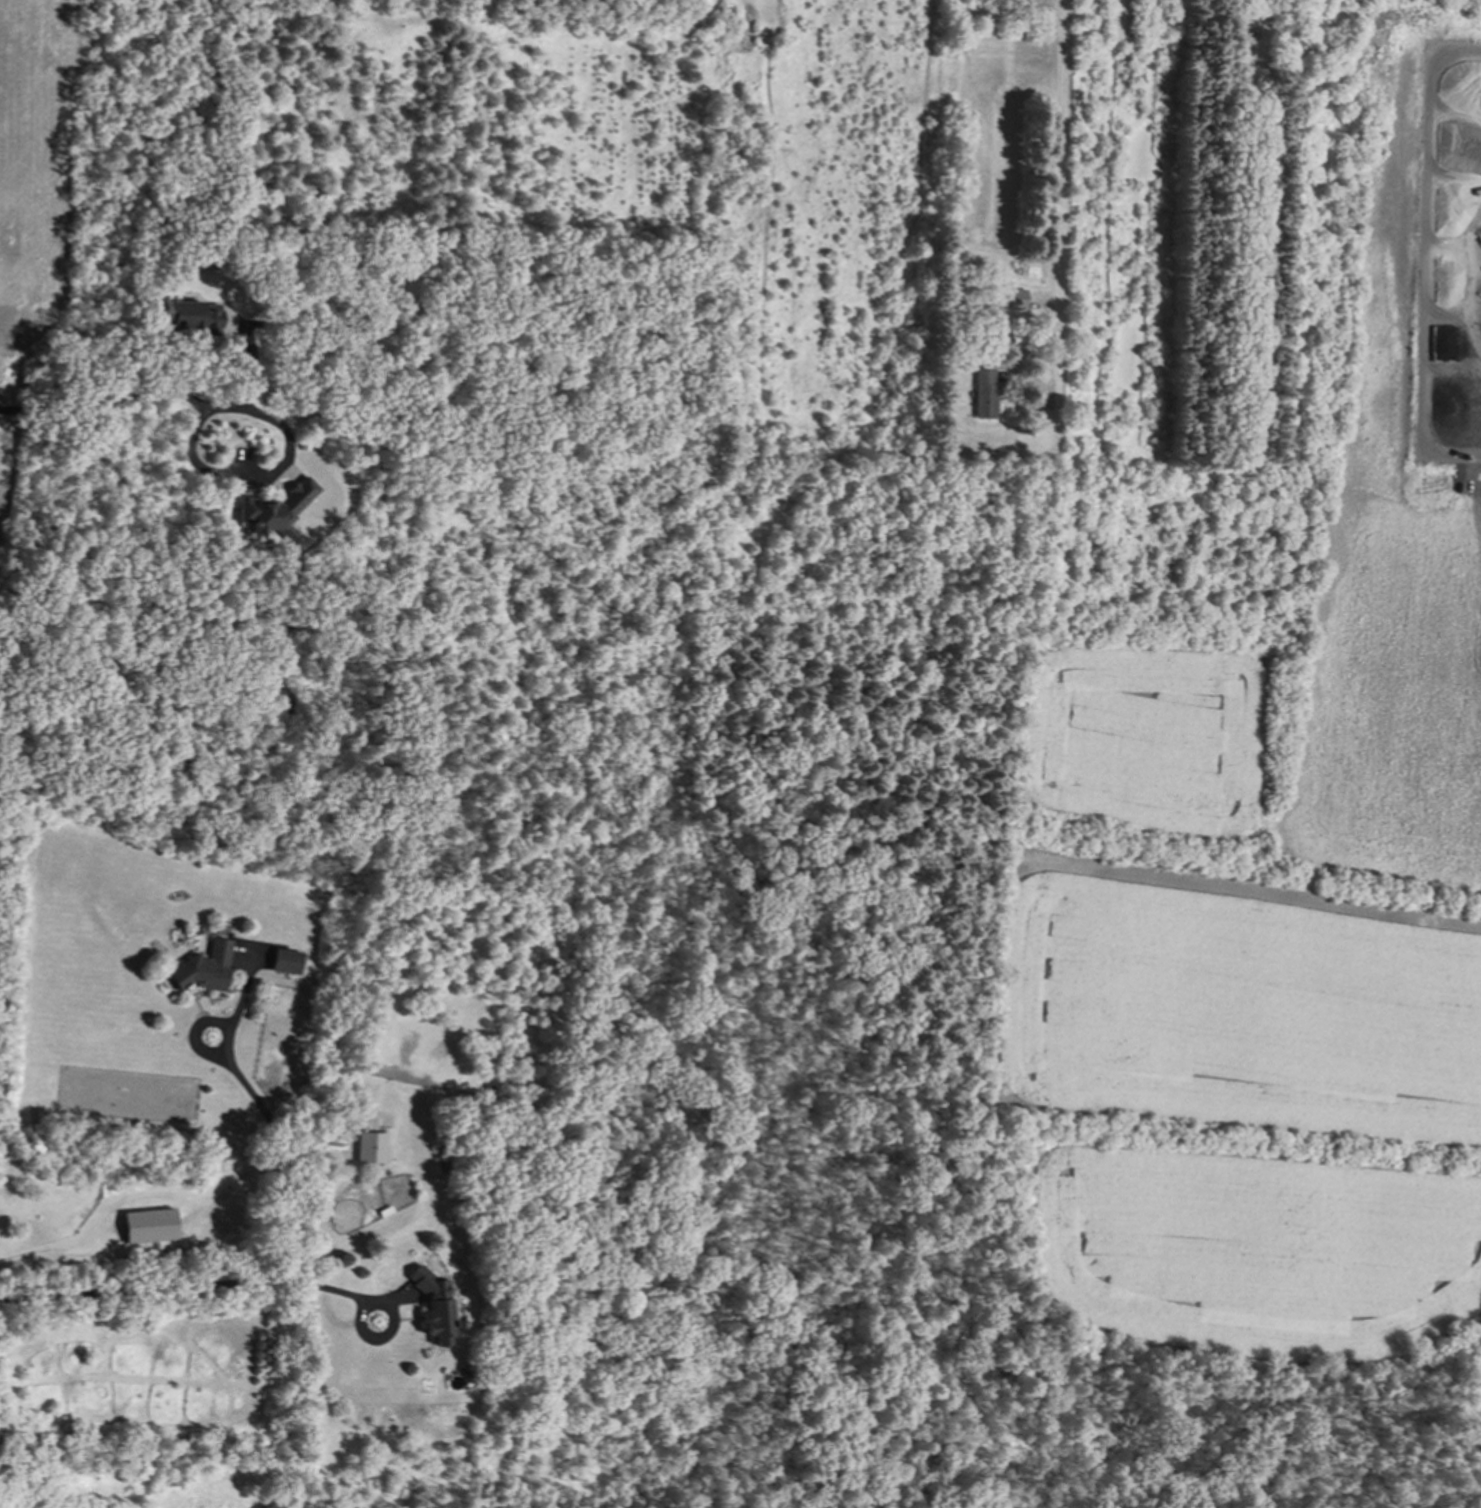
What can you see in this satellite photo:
road: (1059, 193)
road: (1423, 259)
building: (1016, 300)
building: (192, 319)
building: (985, 393)
road: (103, 400)
road: (274, 477)
building: (276, 510)
quarry: (1131, 840)
building: (285, 962)
building: (204, 969)
crop: (1262, 982)
building: (372, 1149)
road: (279, 1151)
road: (230, 1191)
road: (324, 1220)
building: (150, 1227)
road: (69, 1253)
road: (195, 1287)
building: (434, 1307)

